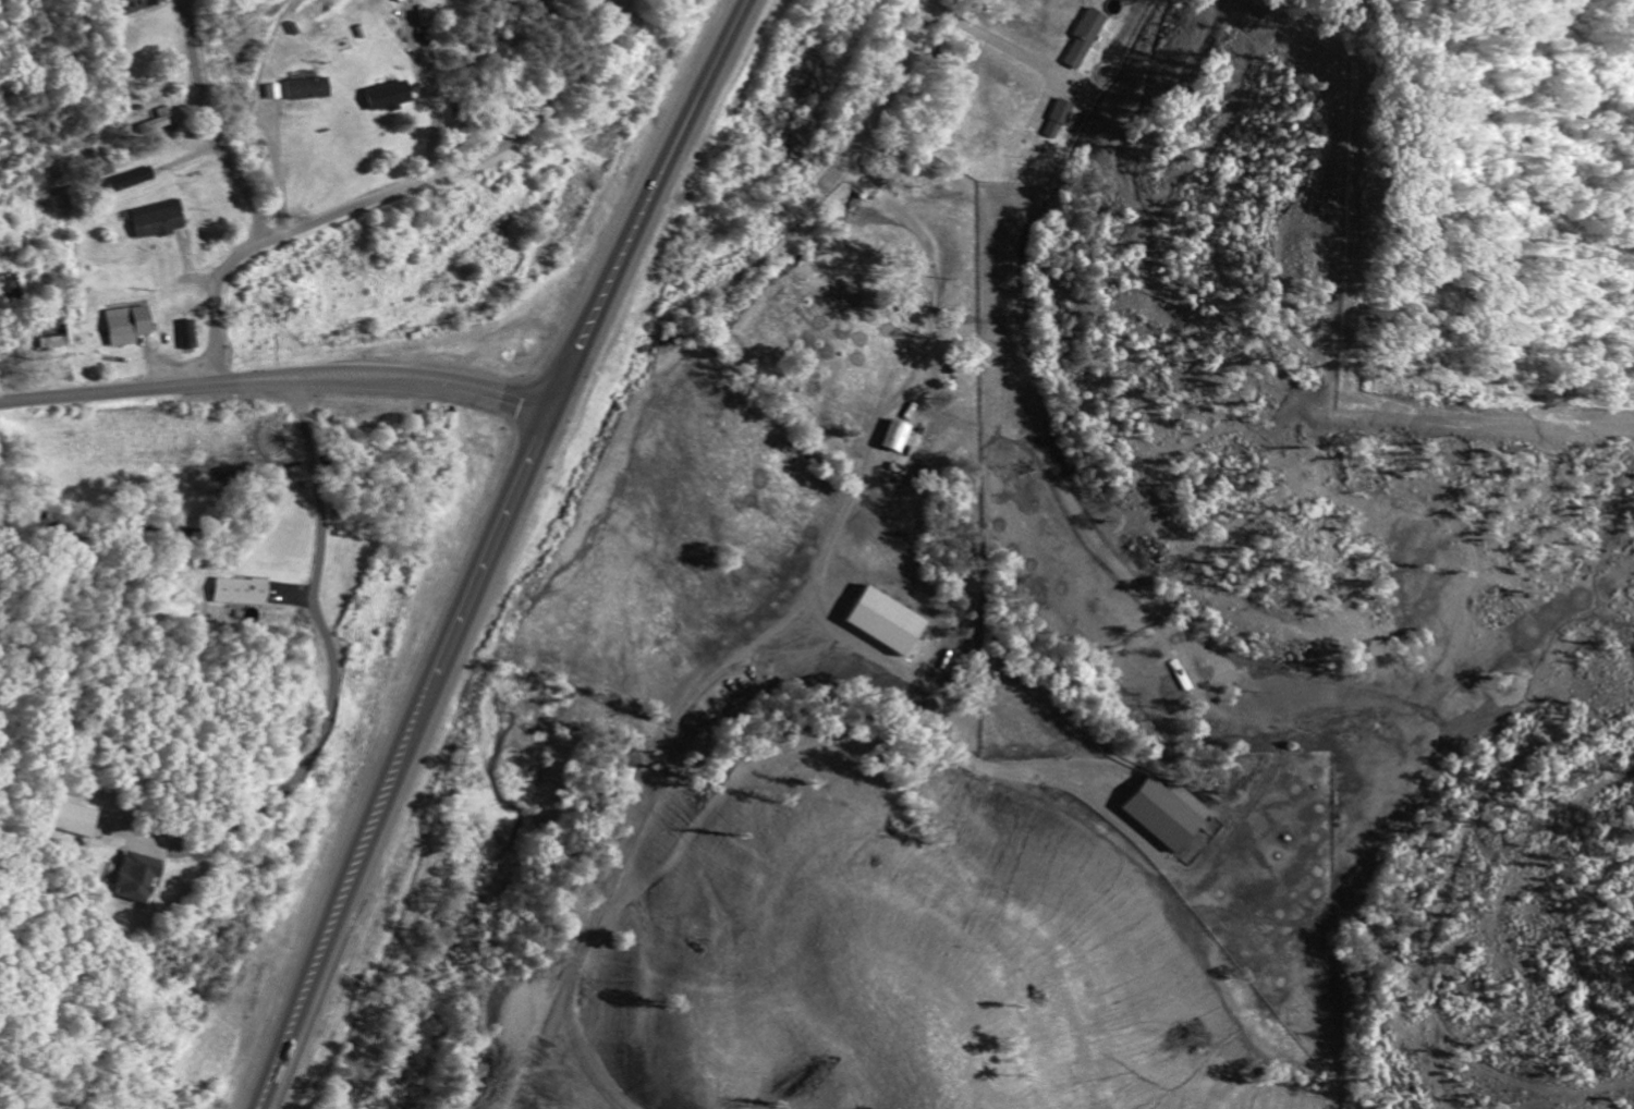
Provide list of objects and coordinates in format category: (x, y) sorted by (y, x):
building: (394, 0)
building: (131, 4)
building: (1085, 36)
building: (306, 87)
building: (381, 95)
road: (885, 98)
building: (1054, 118)
road: (502, 146)
building: (155, 219)
road: (227, 271)
building: (126, 322)
building: (52, 340)
road: (276, 381)
building: (890, 434)
road: (492, 549)
building: (239, 589)
building: (875, 618)
building: (1159, 809)
building: (73, 817)
building: (130, 875)

